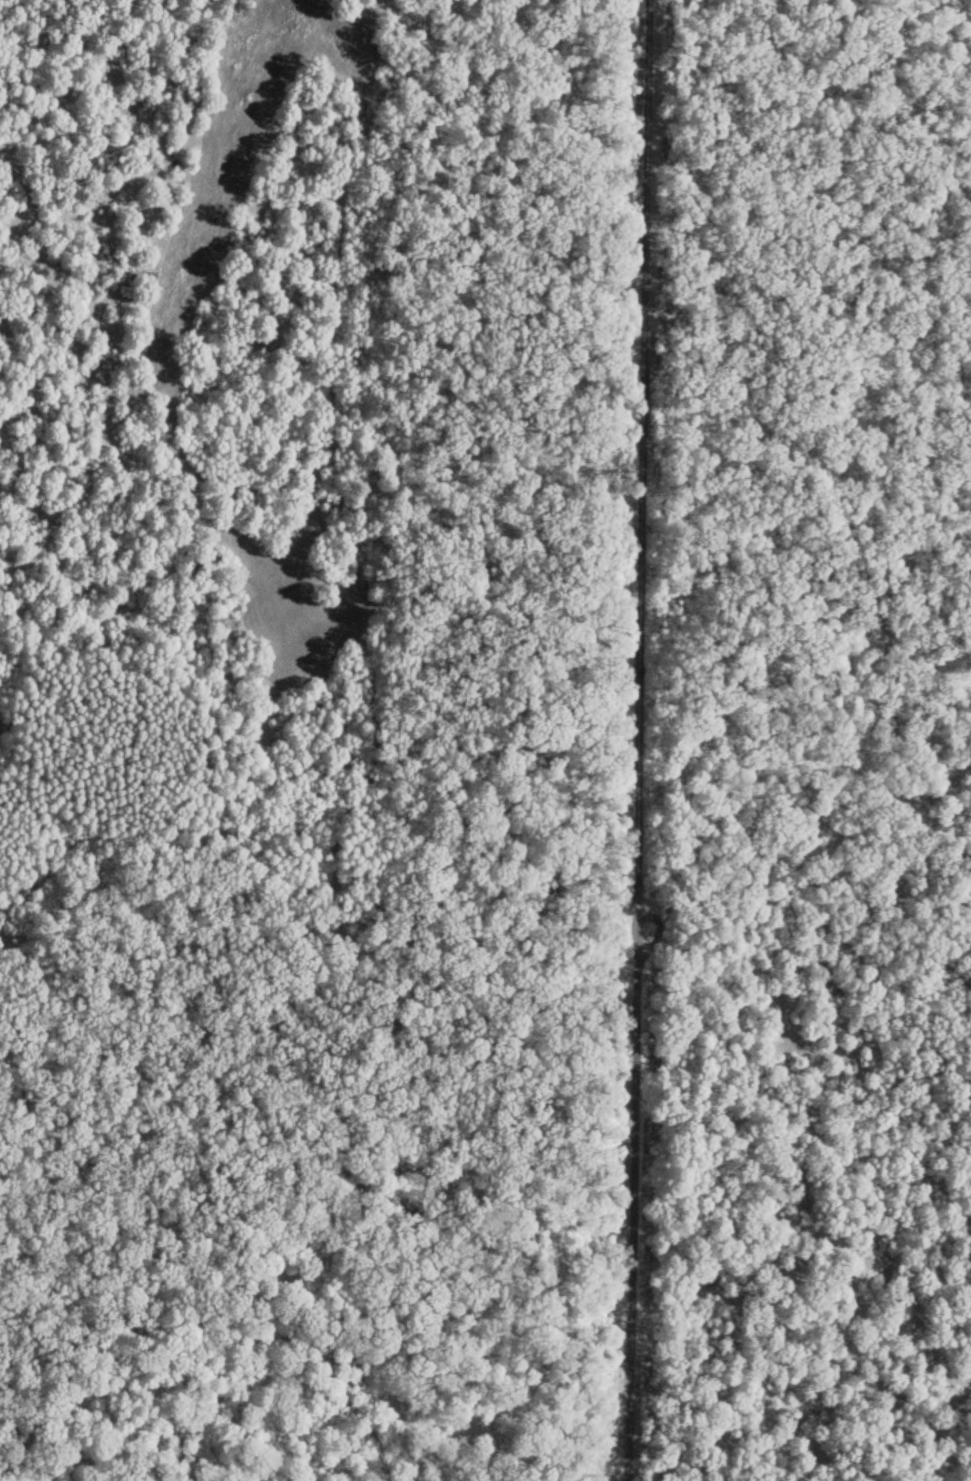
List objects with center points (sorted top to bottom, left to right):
road: (644, 406)
road: (633, 1147)

